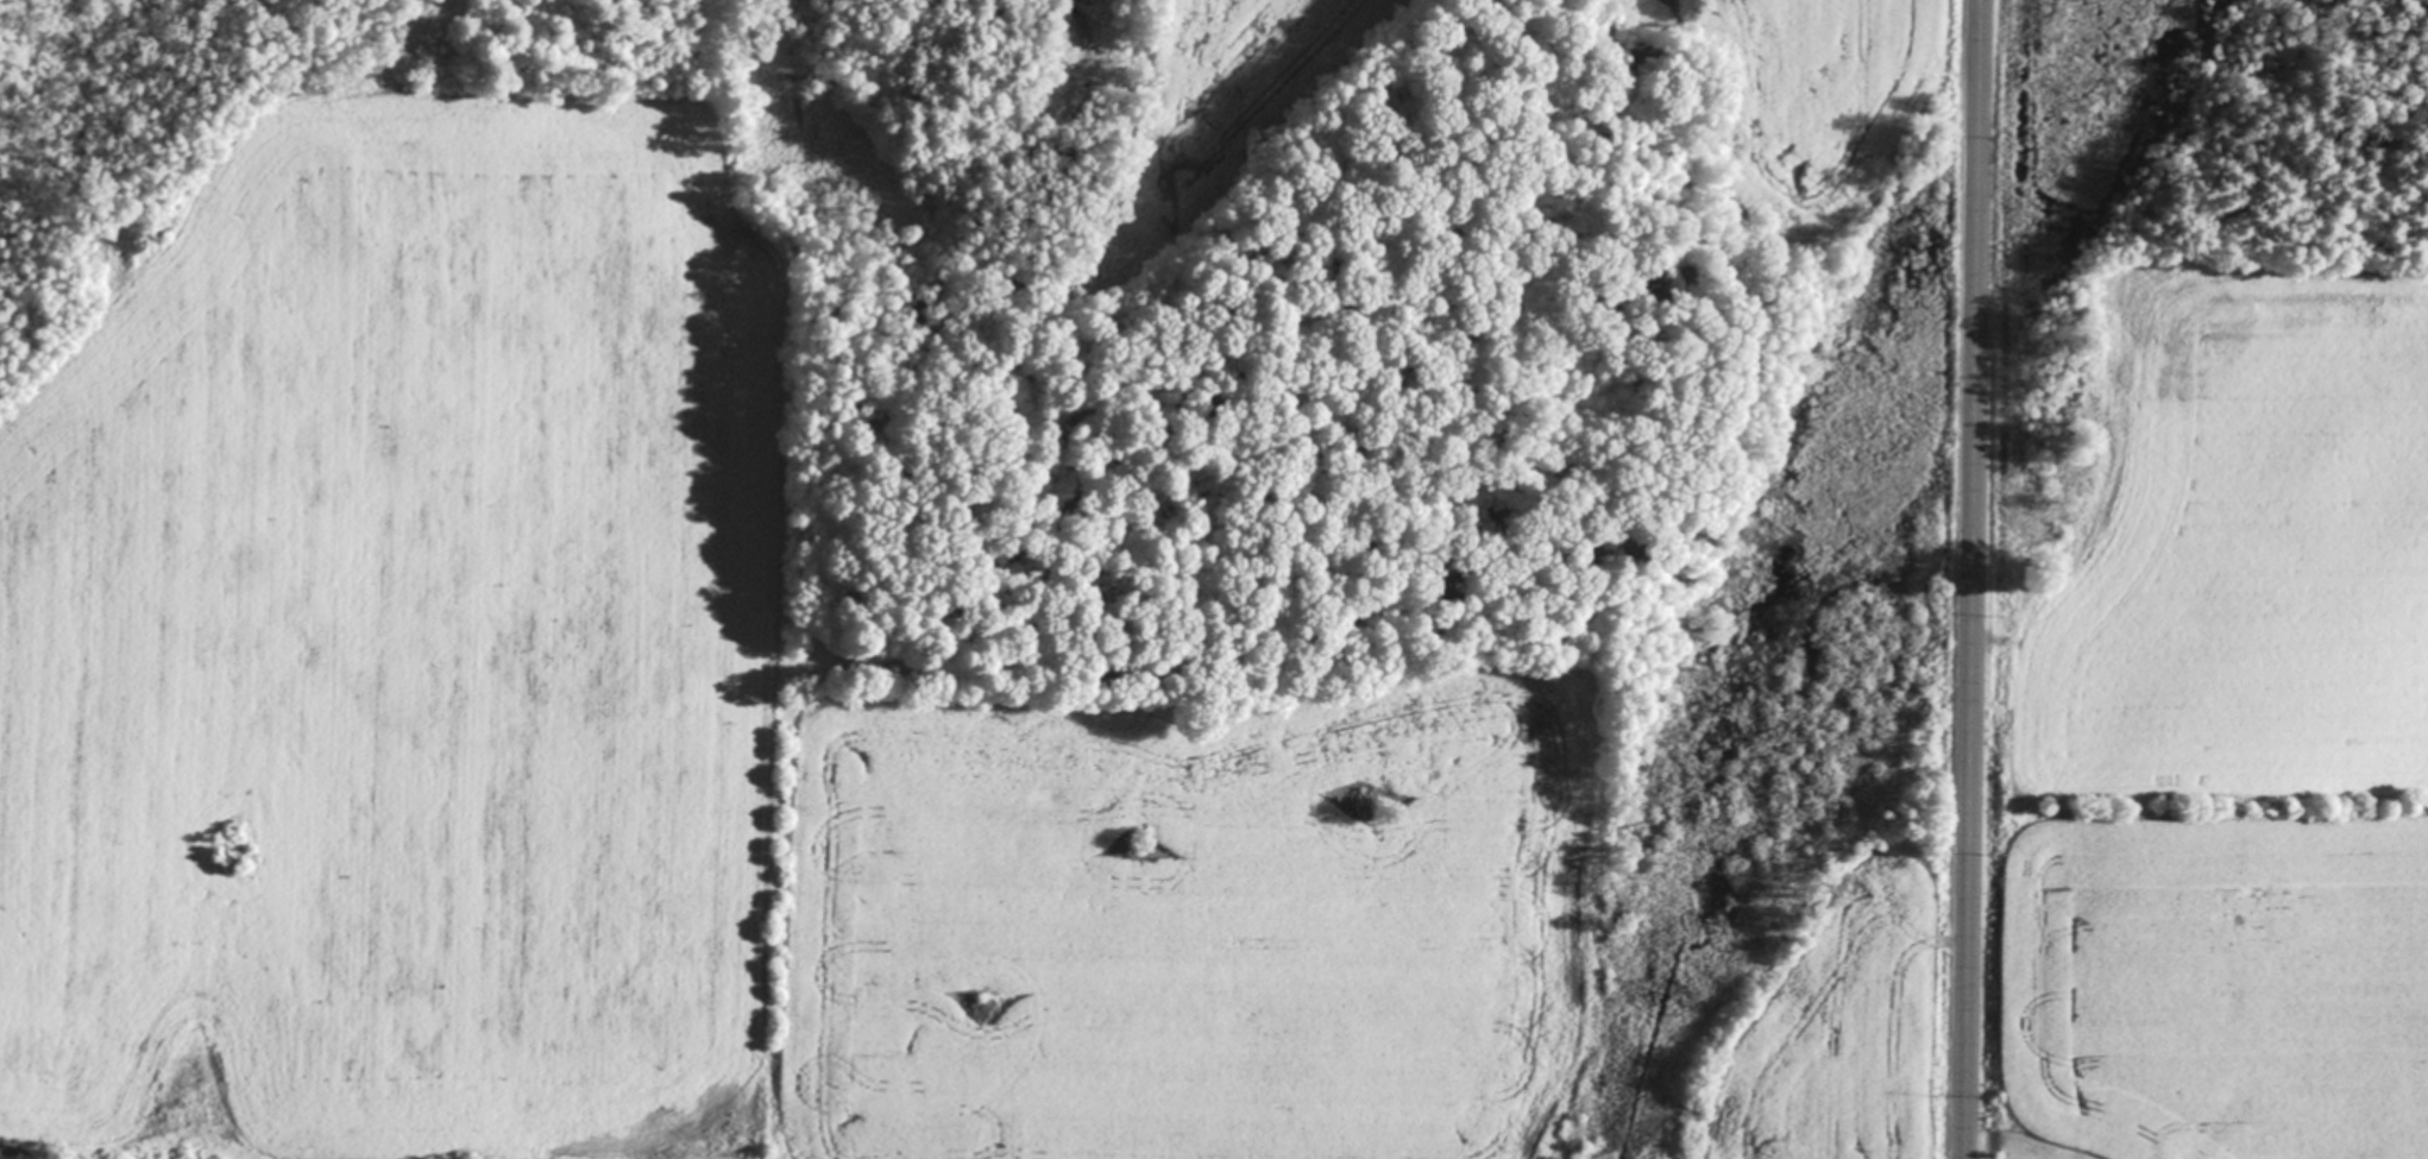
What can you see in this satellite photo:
road: (1970, 579)

